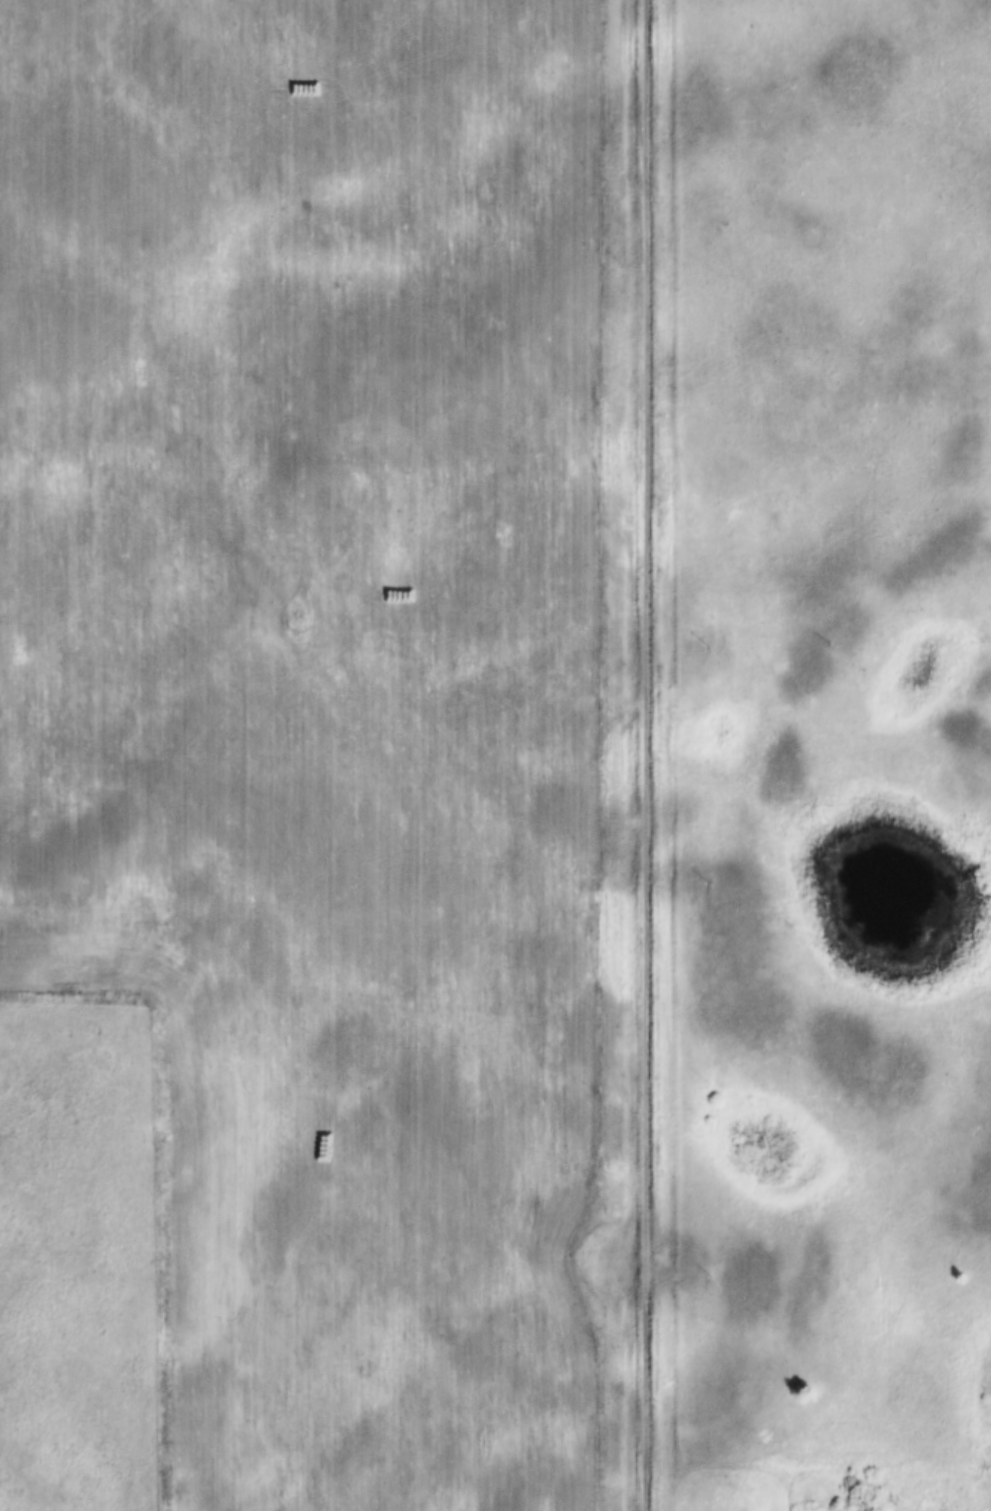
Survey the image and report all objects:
road: (649, 755)

